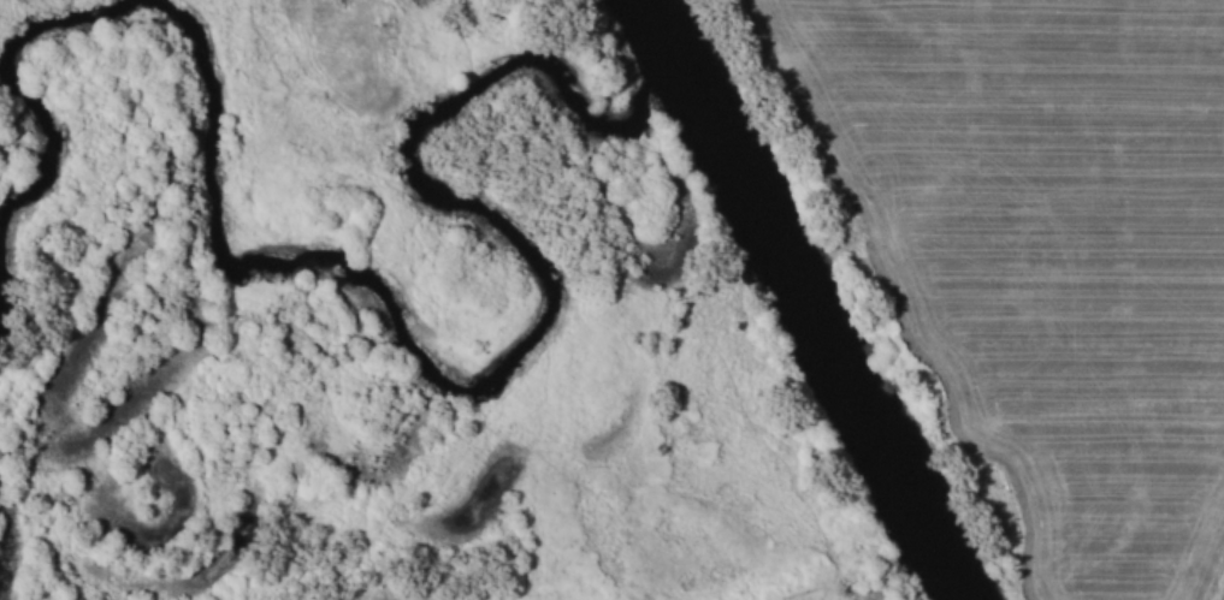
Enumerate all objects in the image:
river: (818, 298)

